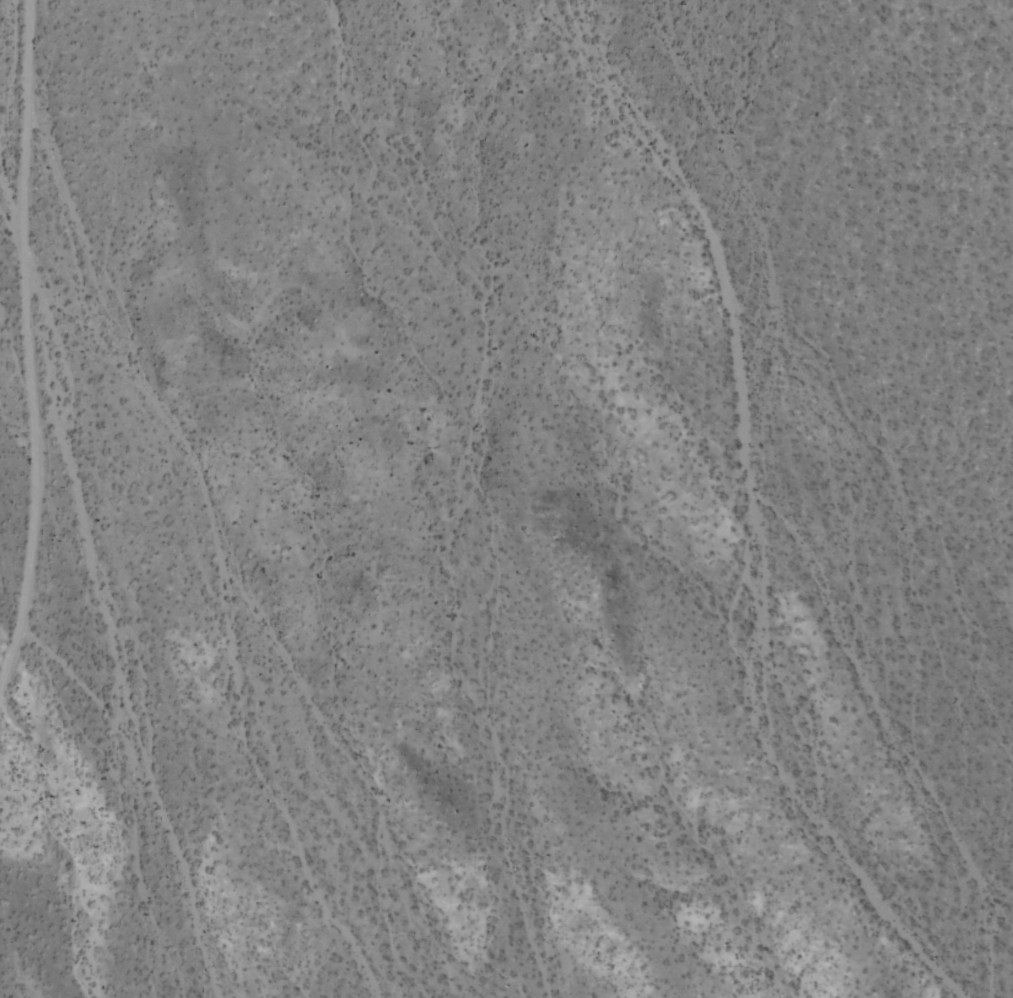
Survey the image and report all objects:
road: (26, 346)

